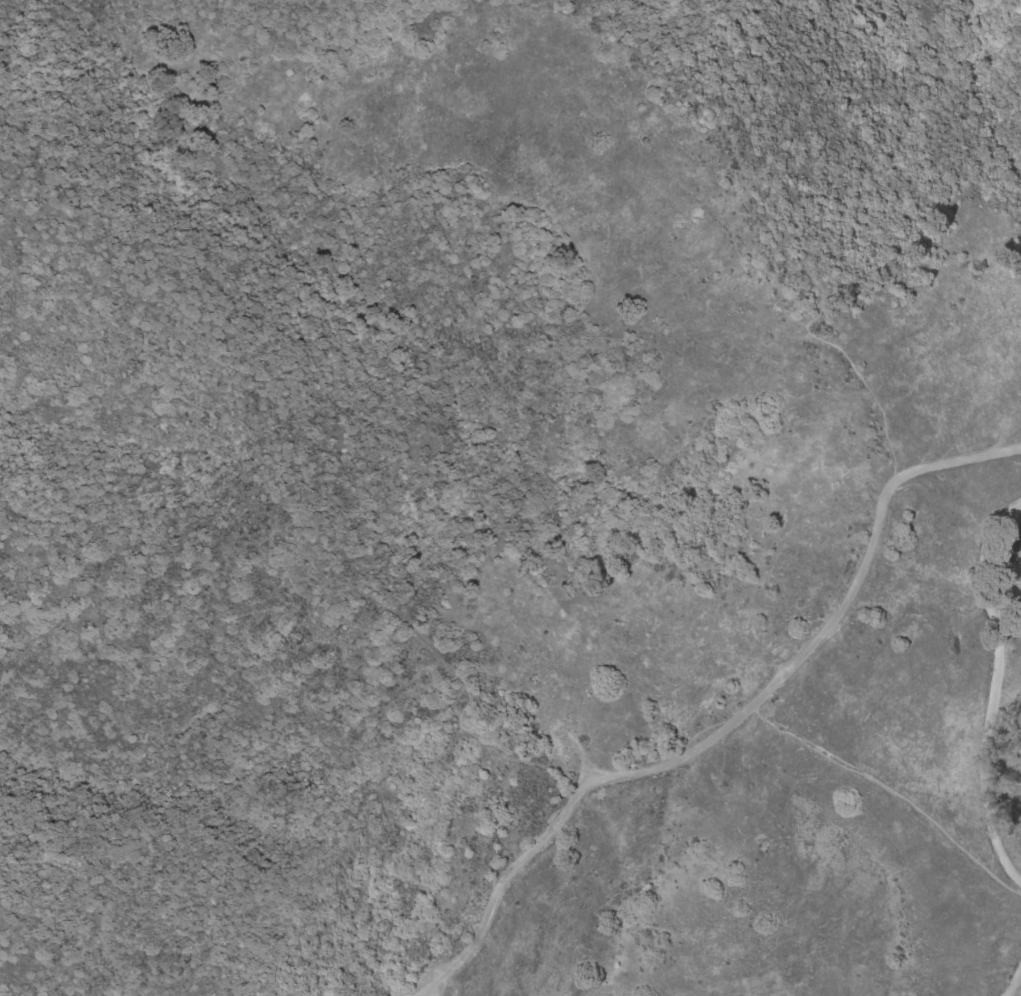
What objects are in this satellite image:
road: (278, 498)
road: (991, 690)
road: (728, 726)
road: (887, 788)
road: (1014, 982)

